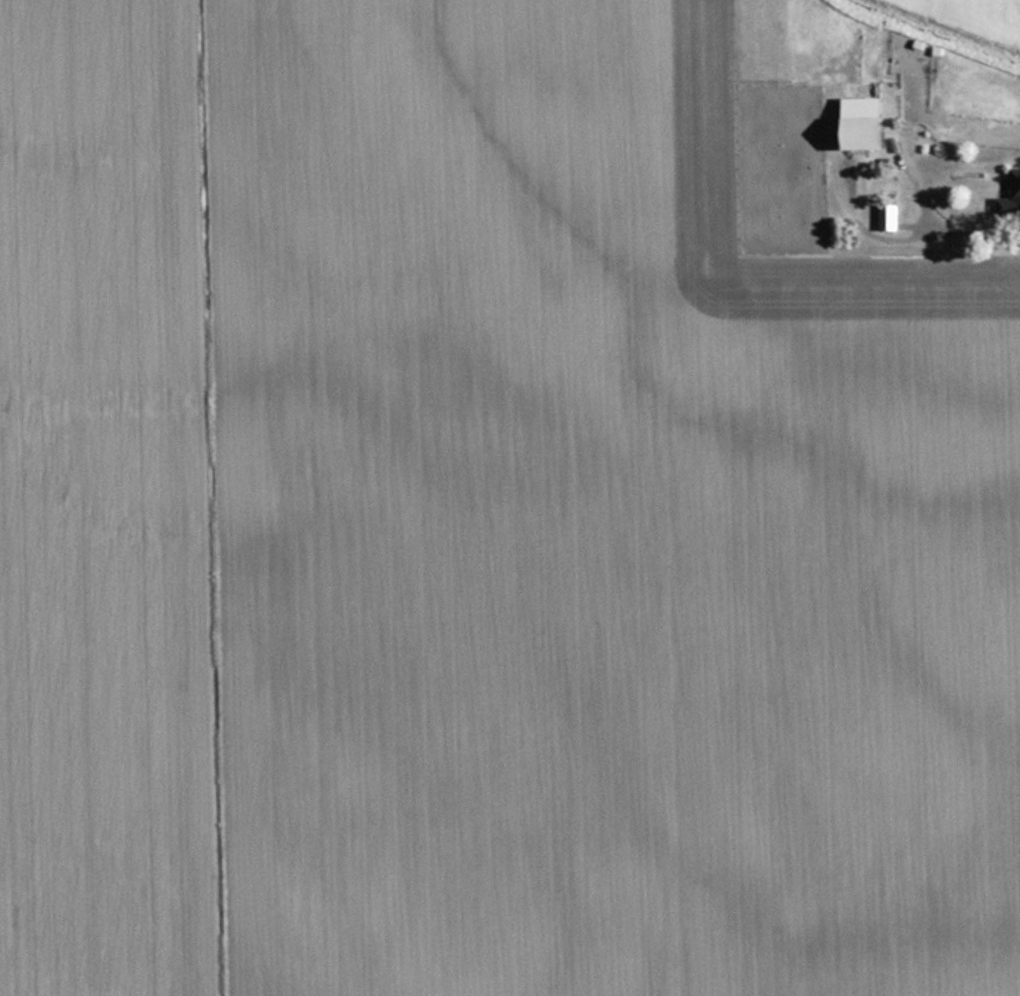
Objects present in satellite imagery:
building: (867, 124)
building: (1011, 197)
building: (890, 217)

